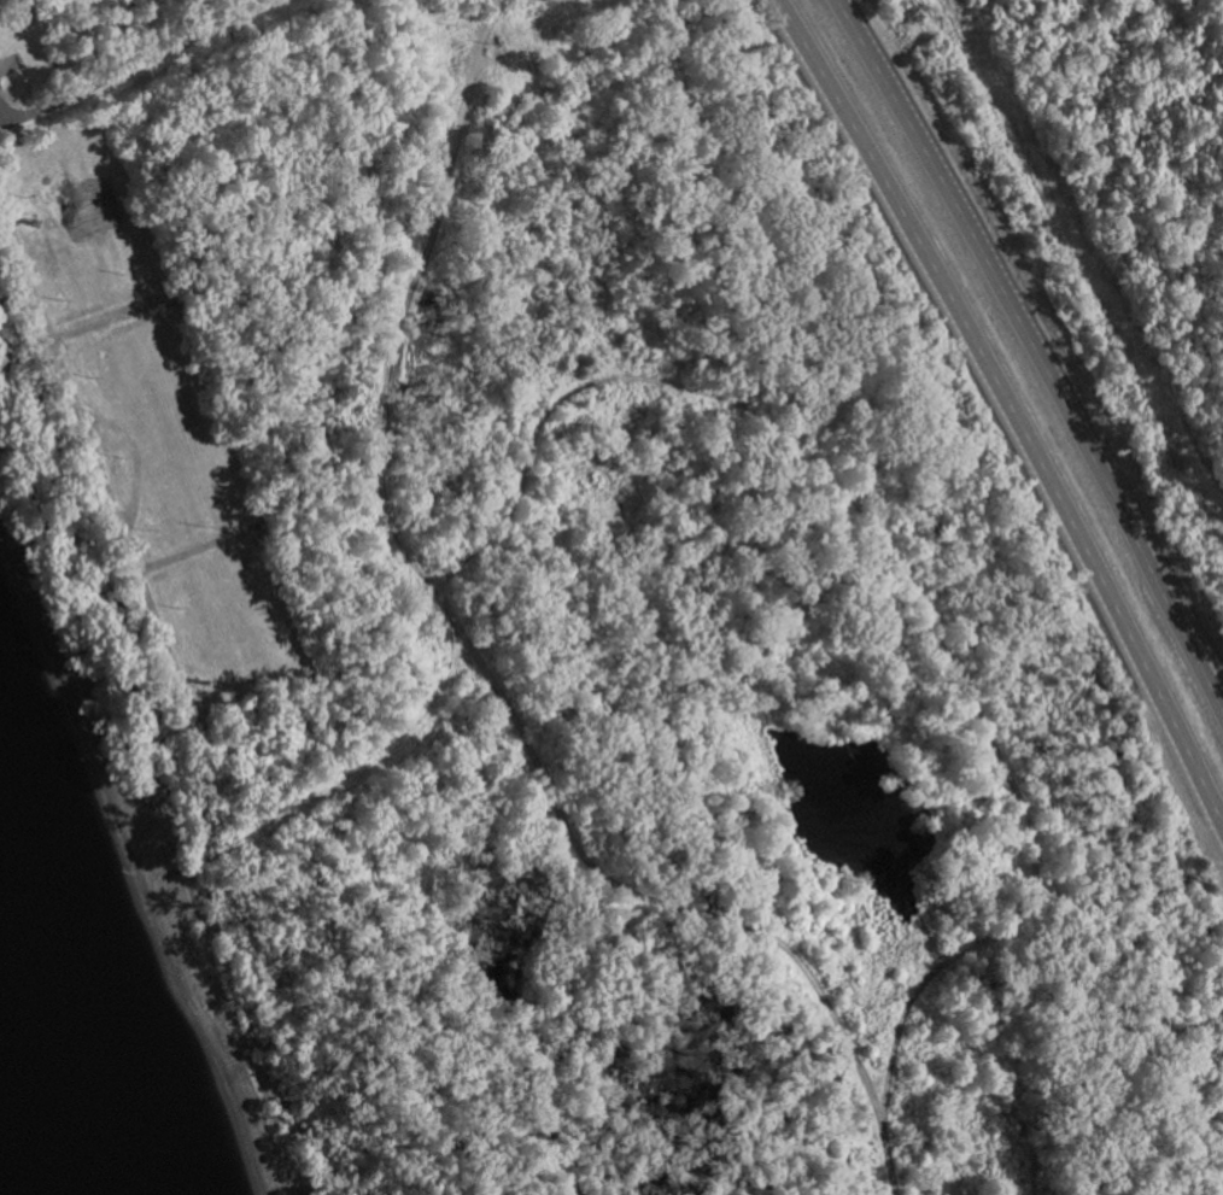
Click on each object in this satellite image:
road: (1083, 258)
road: (1035, 347)
road: (1011, 410)

